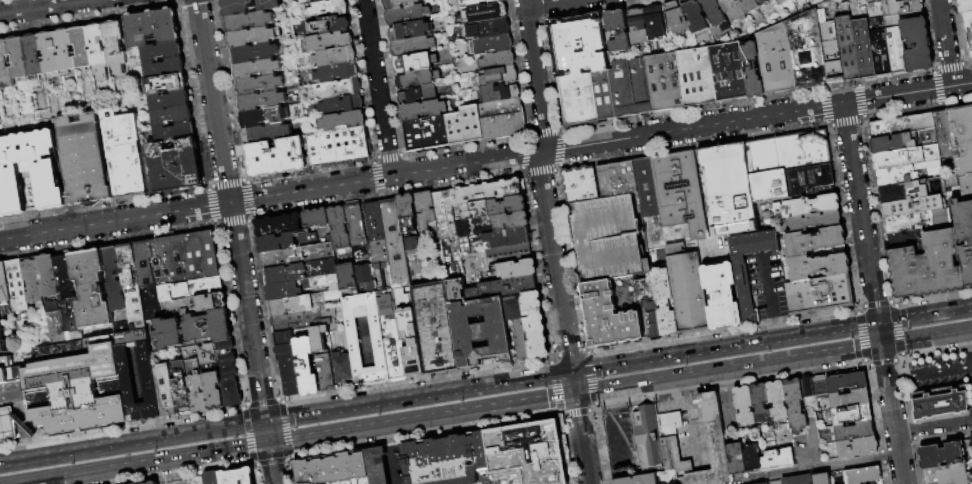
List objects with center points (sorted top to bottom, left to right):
building: (339, 0)
building: (775, 0)
building: (885, 0)
building: (316, 2)
building: (763, 2)
building: (481, 3)
road: (546, 3)
building: (398, 4)
building: (748, 6)
road: (42, 7)
building: (249, 7)
building: (901, 7)
building: (966, 7)
building: (329, 9)
building: (732, 10)
building: (486, 14)
building: (714, 14)
building: (408, 15)
building: (693, 16)
building: (676, 19)
building: (249, 22)
building: (654, 23)
building: (329, 26)
building: (151, 27)
building: (636, 27)
building: (488, 30)
building: (411, 31)
building: (617, 31)
building: (969, 31)
building: (252, 37)
building: (916, 42)
building: (329, 43)
road: (946, 43)
building: (577, 44)
building: (895, 44)
building: (115, 45)
building: (413, 46)
building: (492, 46)
building: (81, 47)
building: (847, 48)
building: (863, 49)
building: (65, 50)
building: (880, 50)
building: (162, 51)
building: (806, 51)
building: (830, 51)
building: (49, 52)
building: (98, 52)
building: (254, 53)
building: (18, 57)
building: (335, 58)
building: (34, 60)
building: (775, 60)
building: (5, 61)
building: (498, 61)
building: (415, 62)
building: (164, 67)
building: (257, 70)
building: (751, 71)
building: (728, 72)
building: (338, 74)
building: (696, 77)
building: (497, 78)
building: (419, 80)
building: (167, 83)
building: (663, 84)
building: (259, 85)
road: (962, 85)
road: (377, 88)
building: (629, 88)
building: (340, 90)
building: (501, 94)
road: (897, 95)
building: (419, 96)
building: (603, 97)
building: (170, 99)
building: (262, 100)
building: (577, 102)
building: (343, 106)
building: (424, 111)
building: (172, 114)
building: (262, 118)
building: (503, 121)
building: (343, 122)
building: (466, 126)
building: (907, 127)
building: (175, 131)
building: (266, 134)
building: (427, 135)
building: (944, 135)
building: (962, 138)
building: (893, 143)
building: (340, 148)
building: (788, 151)
building: (124, 154)
building: (906, 157)
building: (84, 159)
building: (277, 159)
building: (172, 166)
building: (29, 171)
road: (421, 172)
building: (907, 172)
building: (809, 178)
building: (617, 179)
building: (580, 184)
road: (542, 185)
building: (769, 185)
building: (646, 187)
building: (966, 187)
building: (728, 189)
building: (912, 189)
building: (484, 191)
building: (680, 192)
building: (806, 205)
building: (490, 208)
building: (901, 208)
road: (231, 211)
building: (405, 212)
building: (423, 212)
road: (860, 213)
building: (314, 218)
building: (940, 218)
building: (815, 221)
building: (907, 222)
building: (503, 223)
building: (276, 224)
building: (353, 230)
building: (337, 232)
building: (446, 234)
building: (461, 236)
building: (964, 236)
building: (504, 238)
building: (605, 238)
parking lot: (605, 238)
building: (906, 239)
building: (814, 240)
building: (282, 241)
building: (393, 242)
building: (411, 244)
building: (376, 247)
building: (506, 254)
building: (296, 255)
building: (172, 264)
building: (818, 266)
building: (927, 266)
building: (514, 269)
building: (299, 271)
building: (63, 274)
building: (344, 277)
building: (363, 277)
building: (113, 278)
building: (47, 281)
building: (32, 282)
building: (319, 282)
building: (743, 284)
building: (4, 285)
building: (16, 285)
building: (131, 285)
building: (89, 288)
building: (177, 288)
building: (500, 288)
building: (687, 289)
building: (280, 290)
road: (771, 291)
building: (820, 294)
building: (721, 295)
building: (648, 300)
building: (203, 301)
building: (664, 302)
building: (294, 304)
building: (521, 305)
building: (69, 312)
road: (924, 315)
building: (608, 316)
building: (301, 320)
traffic signals: (878, 323)
building: (208, 326)
building: (54, 327)
building: (433, 328)
road: (777, 328)
building: (0, 332)
building: (97, 332)
building: (167, 333)
road: (880, 334)
building: (497, 335)
road: (798, 335)
building: (534, 336)
building: (350, 337)
road: (927, 337)
building: (316, 338)
building: (397, 338)
building: (519, 340)
building: (1, 344)
traffic signals: (882, 345)
building: (206, 353)
road: (645, 360)
building: (5, 361)
building: (285, 364)
building: (304, 367)
building: (340, 367)
road: (728, 369)
road: (940, 370)
building: (227, 372)
traffic signals: (572, 372)
building: (322, 373)
building: (10, 374)
road: (898, 378)
building: (194, 379)
building: (846, 382)
road: (573, 383)
building: (148, 384)
building: (819, 385)
building: (180, 386)
building: (806, 387)
building: (163, 389)
building: (75, 390)
building: (212, 390)
building: (11, 393)
road: (686, 393)
traffic signals: (575, 394)
road: (418, 397)
road: (611, 400)
building: (776, 400)
building: (848, 400)
building: (940, 402)
road: (519, 403)
building: (759, 403)
building: (794, 404)
building: (743, 405)
road: (892, 414)
building: (851, 415)
traffic signals: (265, 422)
building: (667, 422)
building: (6, 424)
gas station: (6, 424)
road: (934, 427)
road: (366, 428)
building: (853, 431)
road: (267, 433)
road: (616, 435)
road: (693, 435)
building: (647, 437)
road: (582, 439)
building: (970, 439)
road: (132, 443)
traffic signals: (269, 444)
building: (714, 448)
building: (856, 448)
building: (526, 451)
road: (390, 454)
building: (672, 455)
building: (941, 455)
building: (445, 458)
building: (751, 458)
building: (776, 459)
road: (603, 462)
road: (145, 463)
road: (271, 464)
building: (376, 465)
road: (816, 467)
building: (332, 469)
building: (953, 474)
building: (862, 475)
parking lot: (929, 476)
building: (236, 477)
building: (211, 478)
building: (820, 478)
building: (636, 479)
building: (797, 479)
building: (190, 481)
building: (152, 482)
building: (774, 482)
parking lot: (872, 482)
building: (763, 483)
building: (971, 483)

